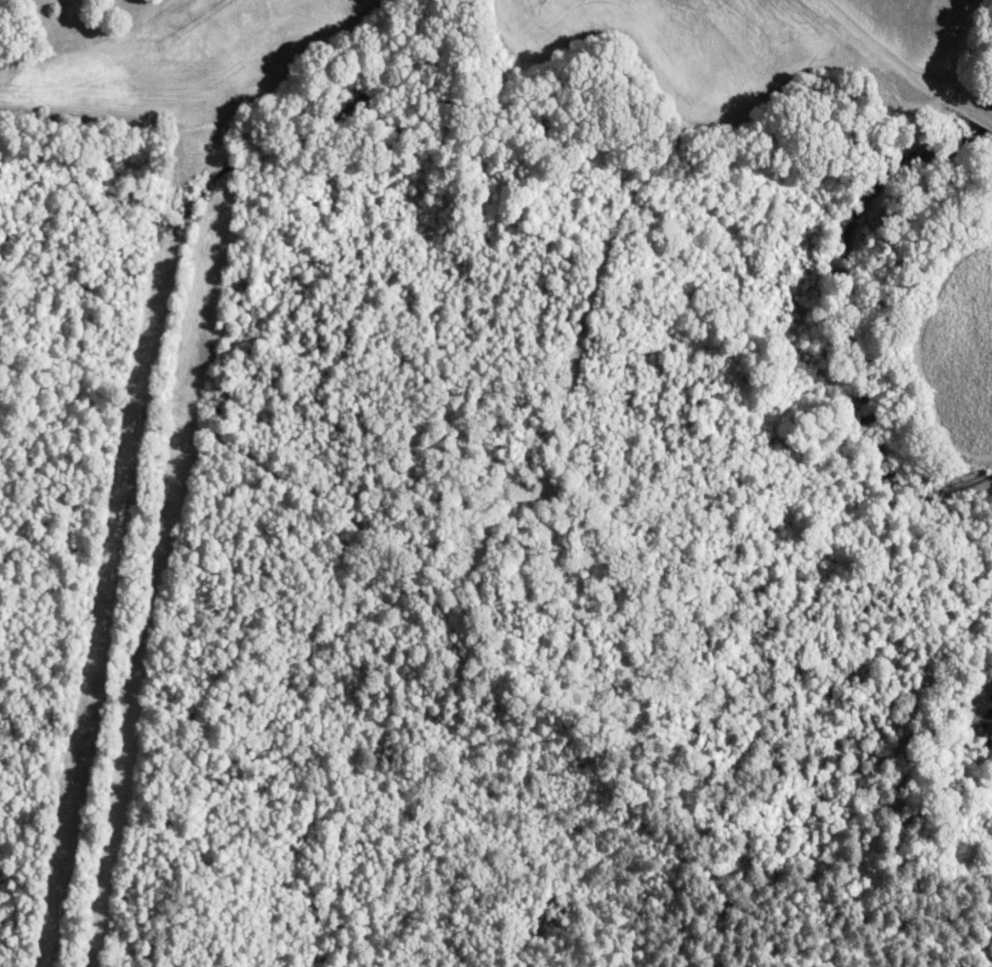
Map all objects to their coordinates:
road: (904, 82)

